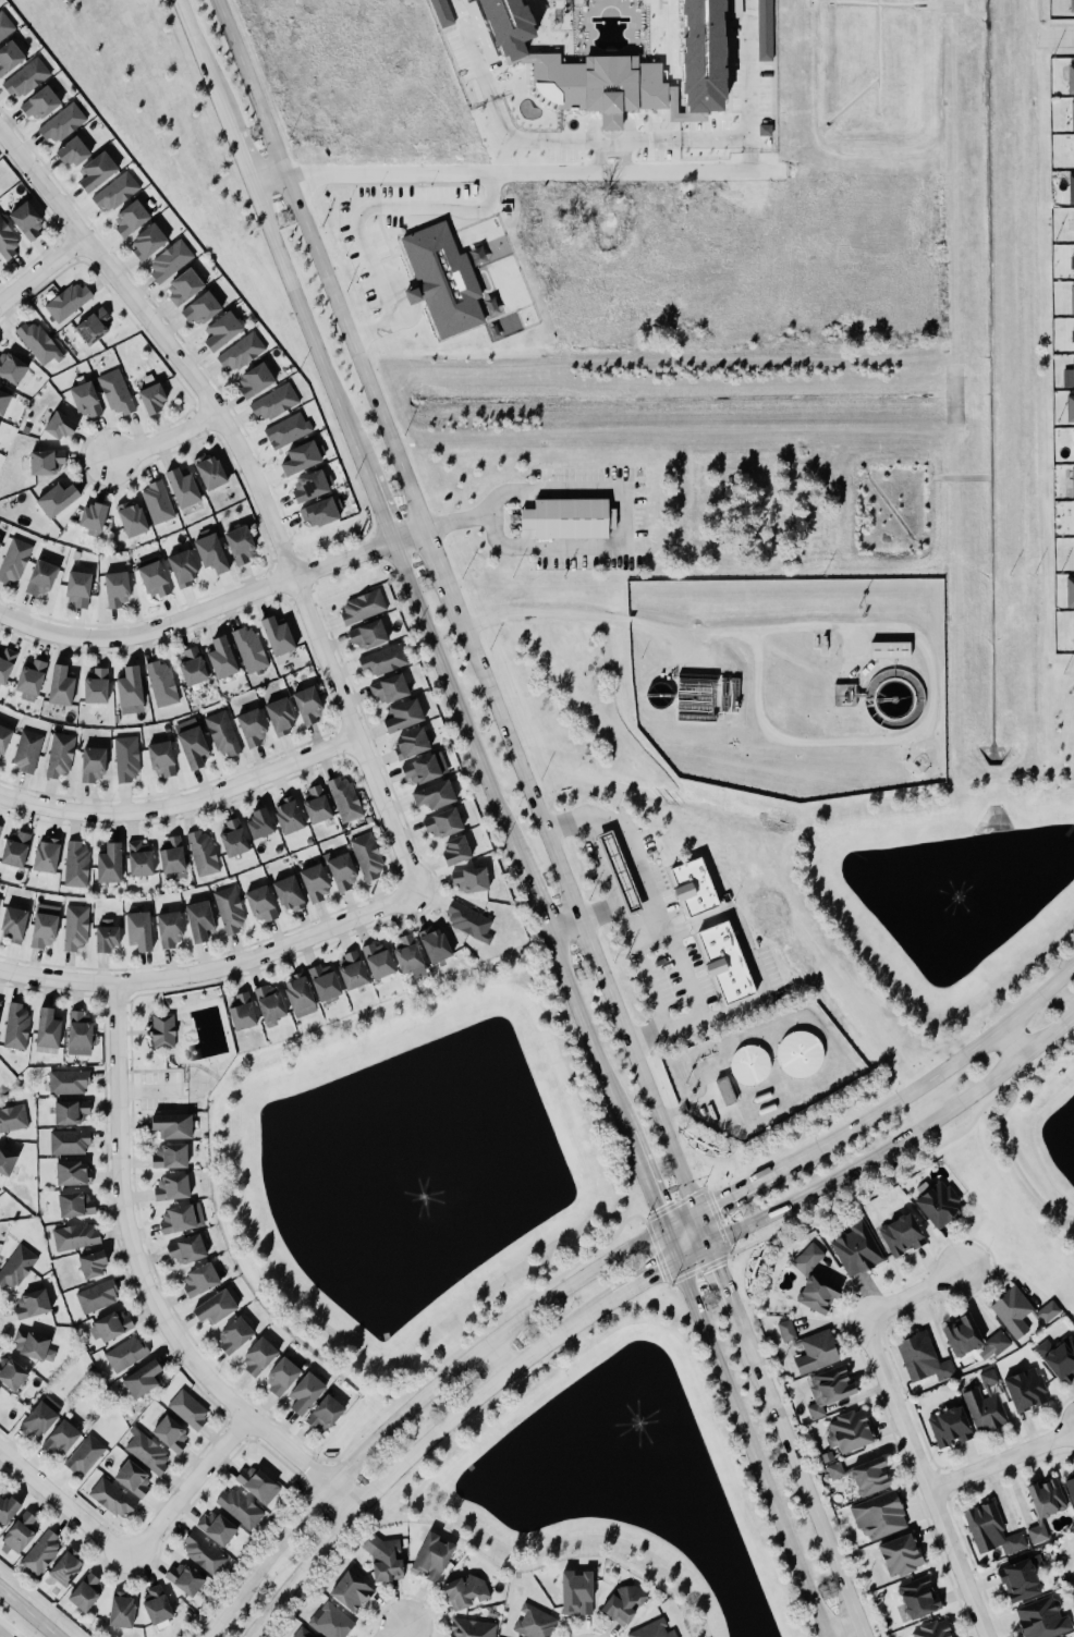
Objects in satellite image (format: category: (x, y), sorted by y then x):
building: (1070, 5)
building: (441, 13)
building: (508, 25)
building: (7, 27)
building: (764, 29)
road: (1063, 36)
building: (703, 54)
building: (12, 59)
road: (200, 63)
road: (746, 71)
building: (1069, 78)
building: (29, 80)
building: (46, 105)
building: (1071, 114)
building: (64, 124)
building: (768, 131)
road: (552, 143)
building: (1073, 151)
building: (80, 152)
road: (236, 152)
building: (0, 167)
road: (529, 172)
building: (102, 173)
road: (263, 174)
building: (1070, 188)
building: (120, 193)
road: (361, 211)
building: (135, 220)
building: (32, 222)
building: (1071, 224)
building: (9, 241)
building: (152, 243)
building: (0, 259)
building: (173, 261)
building: (1071, 261)
road: (316, 264)
road: (41, 269)
building: (442, 280)
building: (188, 289)
building: (1071, 298)
building: (68, 302)
building: (206, 310)
building: (97, 327)
road: (306, 327)
building: (228, 332)
building: (1072, 334)
building: (41, 343)
building: (245, 353)
building: (14, 368)
building: (1072, 371)
building: (259, 381)
building: (118, 393)
building: (151, 399)
building: (89, 401)
building: (7, 403)
building: (278, 403)
building: (1069, 408)
building: (59, 426)
building: (1, 429)
building: (291, 431)
road: (166, 439)
building: (1072, 444)
building: (307, 460)
building: (46, 462)
building: (216, 473)
building: (1071, 481)
road: (255, 485)
building: (315, 488)
building: (188, 490)
building: (62, 501)
building: (160, 504)
road: (377, 508)
building: (326, 514)
building: (1073, 516)
building: (98, 518)
building: (136, 518)
road: (452, 520)
building: (571, 520)
road: (625, 520)
building: (245, 547)
building: (1, 548)
building: (210, 553)
building: (1072, 555)
road: (432, 561)
building: (16, 562)
building: (187, 570)
building: (46, 579)
building: (159, 581)
building: (83, 590)
building: (121, 590)
building: (1069, 593)
road: (212, 607)
building: (366, 608)
road: (572, 614)
building: (1071, 627)
building: (374, 636)
building: (283, 638)
building: (253, 650)
building: (890, 650)
building: (228, 660)
building: (387, 661)
building: (8, 667)
building: (197, 668)
building: (36, 679)
building: (164, 684)
building: (101, 687)
building: (65, 688)
building: (394, 691)
building: (135, 693)
building: (843, 695)
road: (927, 696)
building: (313, 706)
park: (1063, 711)
building: (410, 717)
building: (286, 718)
building: (256, 729)
building: (224, 734)
building: (7, 741)
building: (196, 744)
building: (416, 745)
building: (29, 752)
building: (63, 756)
building: (130, 759)
building: (166, 760)
building: (97, 766)
building: (427, 770)
building: (440, 797)
building: (349, 801)
building: (321, 805)
road: (180, 806)
building: (292, 816)
building: (265, 824)
building: (448, 826)
building: (1, 831)
road: (508, 838)
building: (236, 840)
building: (19, 851)
building: (462, 852)
building: (206, 854)
building: (50, 857)
building: (175, 857)
building: (370, 857)
building: (144, 860)
road: (597, 863)
building: (78, 864)
building: (114, 866)
building: (619, 872)
building: (346, 874)
building: (475, 882)
building: (319, 883)
building: (693, 888)
building: (293, 895)
fountain: (966, 896)
building: (0, 901)
building: (265, 906)
building: (232, 912)
road: (661, 919)
road: (575, 920)
building: (205, 924)
building: (473, 924)
building: (17, 925)
building: (48, 926)
road: (560, 927)
building: (78, 928)
building: (173, 930)
building: (144, 932)
building: (110, 938)
building: (440, 946)
road: (631, 949)
road: (748, 952)
building: (414, 956)
building: (383, 962)
building: (725, 964)
road: (210, 967)
building: (357, 972)
building: (330, 986)
building: (304, 995)
building: (274, 1006)
building: (1, 1011)
building: (246, 1014)
building: (20, 1028)
building: (52, 1031)
building: (166, 1033)
building: (83, 1036)
road: (1011, 1042)
park: (175, 1047)
building: (798, 1053)
building: (749, 1065)
road: (932, 1079)
building: (71, 1083)
building: (724, 1091)
building: (730, 1092)
building: (74, 1113)
building: (14, 1120)
building: (178, 1127)
road: (1033, 1140)
building: (72, 1143)
road: (883, 1151)
building: (175, 1157)
building: (9, 1162)
building: (75, 1173)
road: (645, 1183)
fountain: (426, 1185)
building: (176, 1188)
road: (733, 1195)
building: (942, 1204)
building: (80, 1206)
building: (0, 1209)
traffic signals: (692, 1217)
building: (184, 1219)
road: (678, 1223)
traffic signals: (663, 1230)
building: (907, 1236)
building: (77, 1237)
building: (192, 1250)
traffic signals: (705, 1250)
building: (862, 1250)
building: (811, 1259)
building: (98, 1265)
traffic signals: (678, 1265)
building: (19, 1268)
building: (205, 1281)
road: (647, 1282)
road: (718, 1284)
road: (143, 1290)
road: (912, 1294)
building: (823, 1295)
building: (99, 1296)
building: (37, 1304)
building: (221, 1308)
building: (1024, 1312)
building: (113, 1327)
building: (791, 1332)
building: (239, 1334)
building: (977, 1340)
building: (37, 1346)
building: (1047, 1349)
building: (821, 1353)
building: (127, 1354)
road: (500, 1354)
building: (264, 1357)
building: (926, 1359)
building: (1064, 1360)
building: (14, 1373)
building: (286, 1377)
building: (147, 1379)
building: (992, 1381)
building: (1, 1391)
building: (833, 1391)
building: (1030, 1391)
building: (312, 1393)
fountain: (614, 1404)
road: (410, 1405)
building: (192, 1410)
building: (988, 1412)
building: (330, 1415)
building: (42, 1420)
building: (955, 1429)
road: (744, 1432)
building: (174, 1434)
building: (64, 1440)
building: (850, 1440)
road: (417, 1451)
building: (150, 1453)
building: (88, 1455)
road: (1001, 1458)
road: (794, 1477)
building: (877, 1477)
road: (924, 1477)
building: (137, 1479)
building: (261, 1485)
building: (1072, 1486)
road: (185, 1487)
building: (115, 1499)
building: (1050, 1499)
road: (63, 1503)
building: (241, 1508)
building: (10, 1510)
building: (883, 1517)
building: (221, 1528)
building: (996, 1531)
building: (1041, 1535)
building: (44, 1554)
building: (207, 1554)
building: (905, 1556)
building: (437, 1557)
building: (389, 1560)
building: (70, 1569)
building: (190, 1579)
building: (1025, 1581)
building: (89, 1592)
building: (355, 1592)
building: (471, 1592)
building: (576, 1593)
building: (924, 1598)
building: (628, 1604)
building: (161, 1605)
road: (27, 1612)
building: (125, 1612)
building: (1047, 1618)
building: (333, 1622)
building: (538, 1623)
building: (474, 1628)
road: (838, 1629)
building: (939, 1629)
building: (656, 1630)
road: (398, 1632)
building: (305, 1633)
road: (1, 1635)

